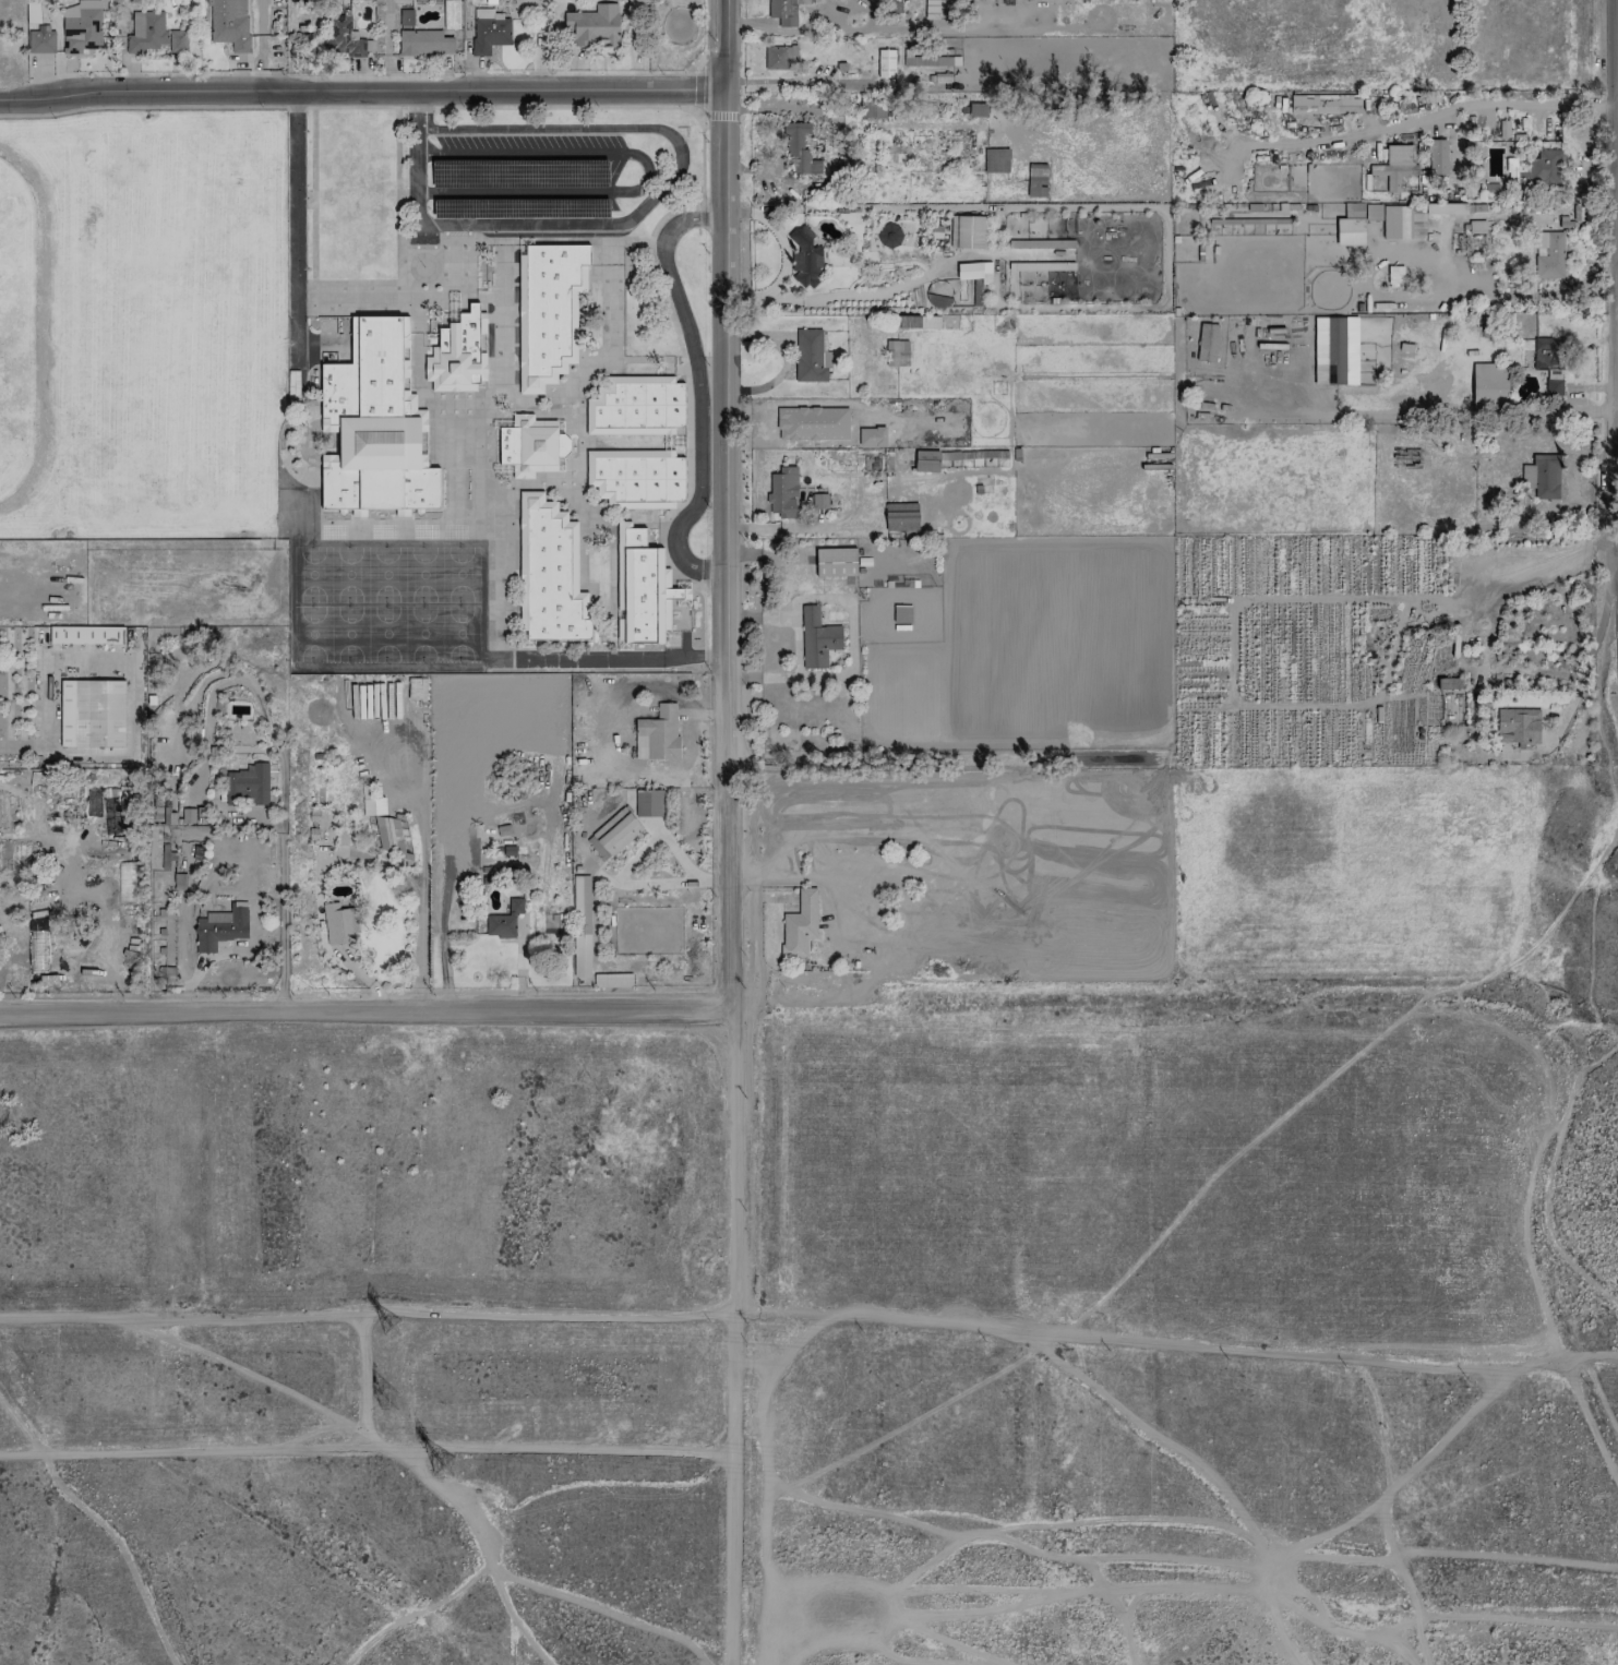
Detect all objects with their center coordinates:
building: (932, 9)
building: (786, 11)
building: (406, 19)
building: (229, 23)
building: (81, 26)
building: (594, 26)
building: (489, 32)
building: (154, 35)
building: (40, 39)
building: (424, 43)
road: (386, 46)
building: (779, 57)
building: (928, 60)
building: (885, 63)
road: (362, 94)
building: (1327, 104)
road: (1449, 106)
road: (696, 109)
road: (428, 128)
building: (798, 147)
road: (428, 152)
building: (1438, 156)
road: (417, 163)
building: (1394, 166)
road: (676, 169)
building: (1536, 170)
road: (646, 184)
park: (355, 196)
building: (1448, 208)
building: (1373, 213)
road: (702, 216)
building: (1403, 221)
building: (1351, 225)
road: (293, 226)
building: (1476, 227)
building: (969, 232)
building: (889, 236)
building: (1040, 243)
building: (1548, 254)
building: (804, 257)
building: (969, 271)
building: (1394, 276)
road: (1501, 296)
road: (1614, 302)
building: (548, 312)
park: (168, 321)
road: (1616, 326)
park: (15, 328)
track: (15, 328)
building: (1207, 343)
building: (897, 352)
building: (458, 354)
building: (808, 356)
road: (783, 360)
building: (1549, 363)
building: (1489, 385)
road: (728, 388)
road: (698, 391)
building: (635, 406)
building: (374, 423)
building: (812, 423)
building: (872, 436)
building: (562, 444)
building: (528, 445)
building: (926, 460)
building: (1546, 477)
building: (782, 492)
building: (819, 500)
building: (901, 518)
building: (836, 562)
road: (703, 572)
building: (550, 573)
building: (644, 587)
building: (85, 635)
building: (816, 638)
road: (625, 660)
road: (1580, 679)
road: (51, 686)
building: (1451, 698)
building: (92, 714)
building: (1518, 727)
building: (660, 732)
building: (247, 784)
building: (648, 803)
building: (373, 806)
road: (261, 814)
road: (41, 831)
building: (388, 834)
building: (613, 834)
road: (340, 852)
building: (504, 920)
road: (283, 922)
building: (338, 923)
building: (800, 924)
building: (580, 925)
building: (221, 927)
road: (368, 1010)
road: (1550, 1177)
road: (733, 1221)
power tower: (392, 1327)
road: (364, 1379)
power tower: (388, 1400)
road: (365, 1445)
power tower: (443, 1465)

